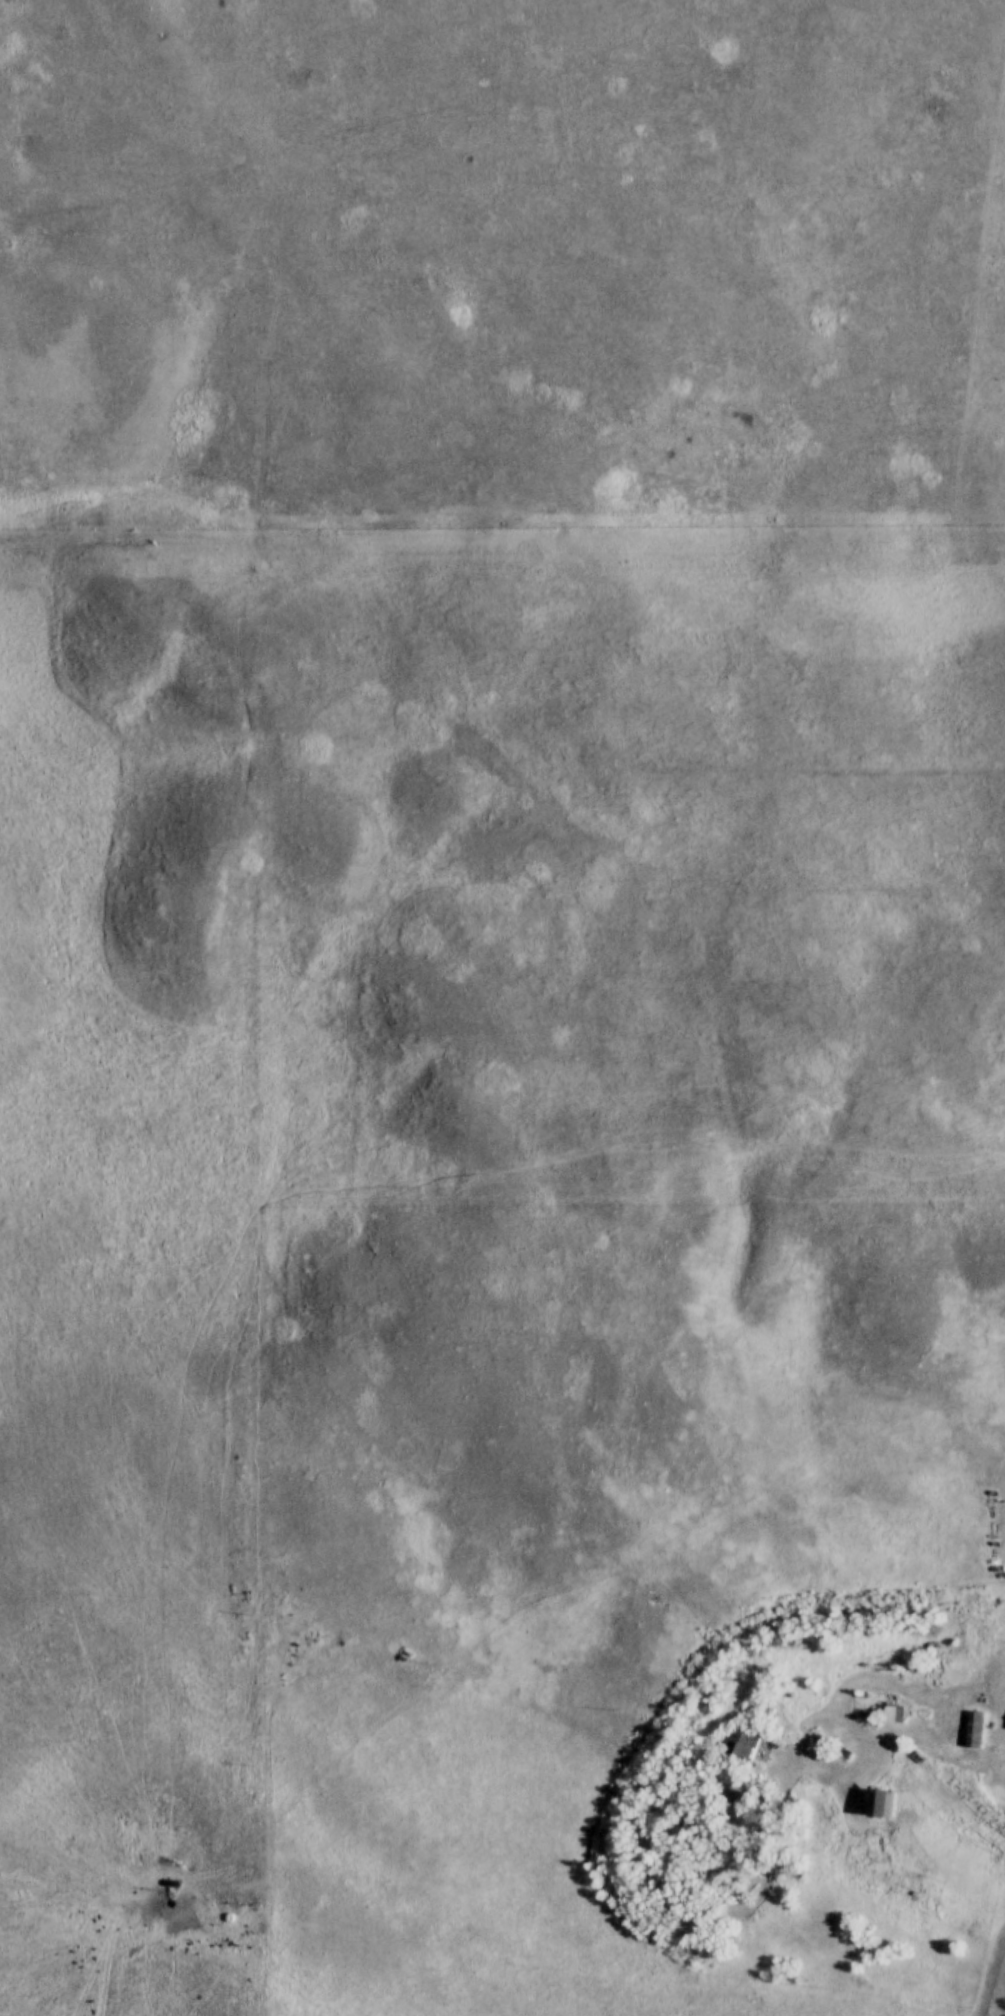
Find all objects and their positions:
building: (974, 1734)
building: (740, 1745)
road: (907, 1763)
building: (881, 1805)

